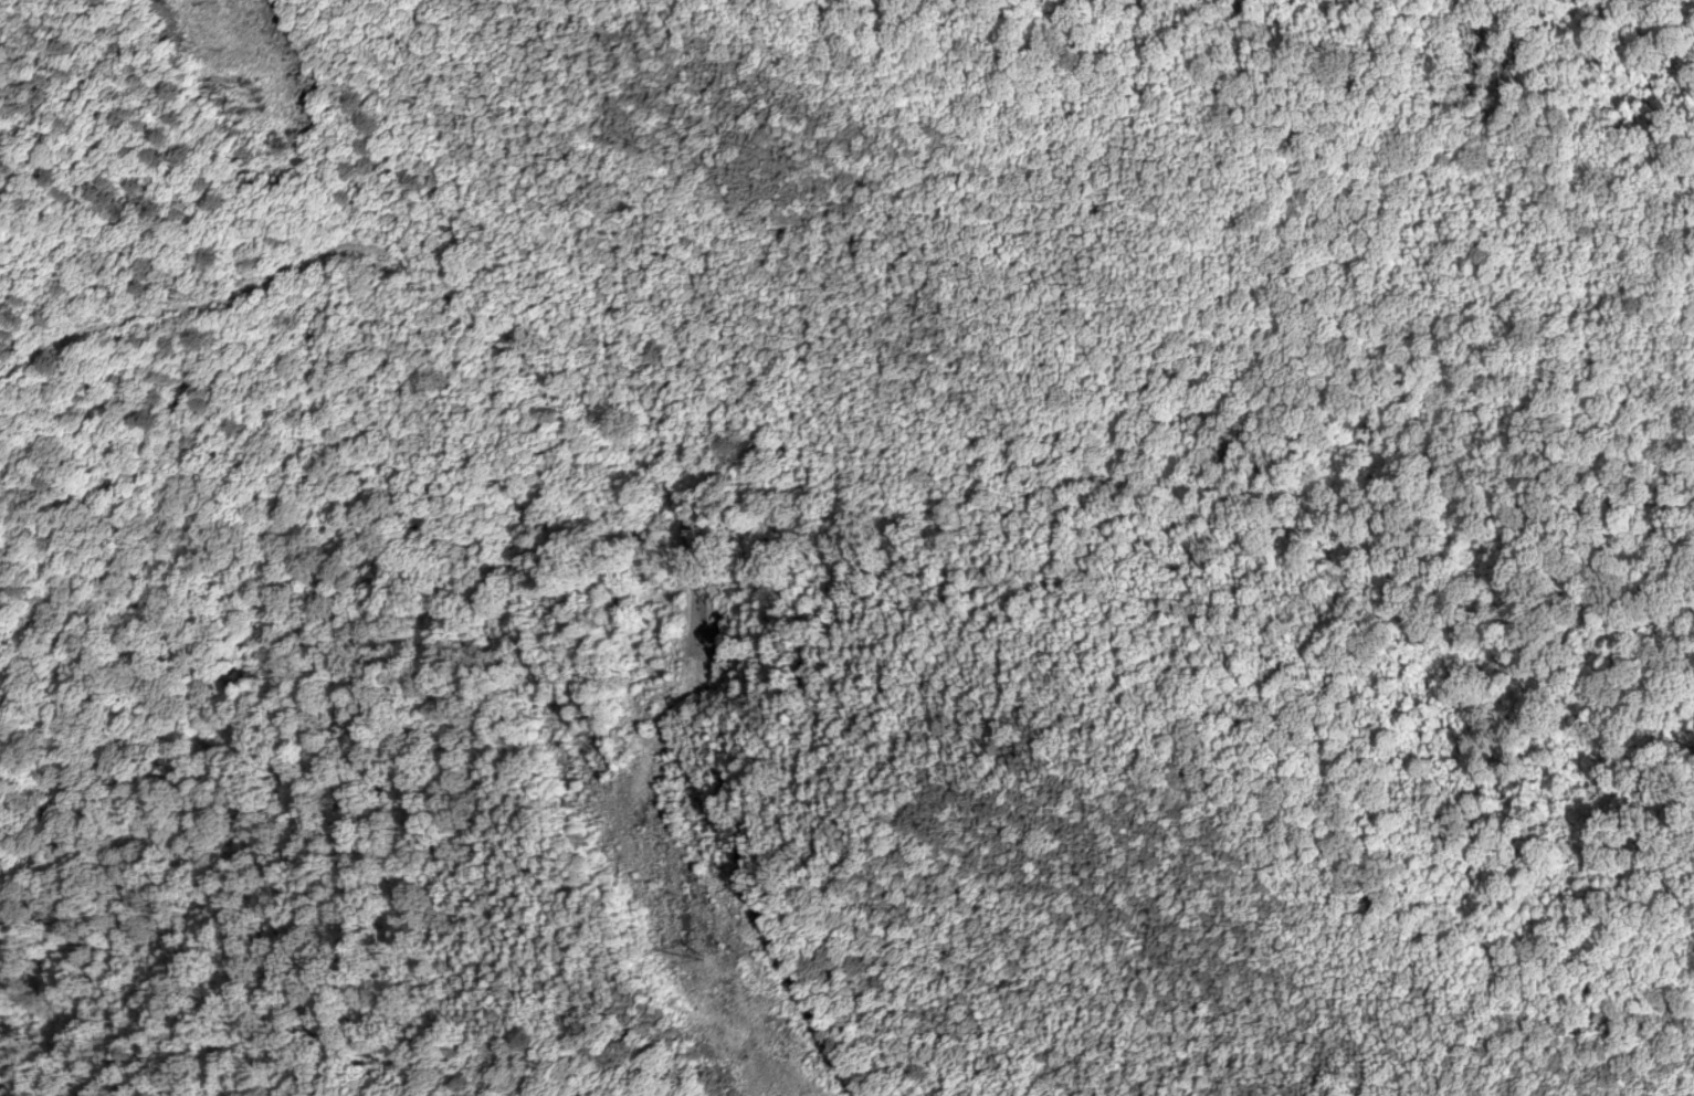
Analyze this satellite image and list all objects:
road: (1211, 107)

